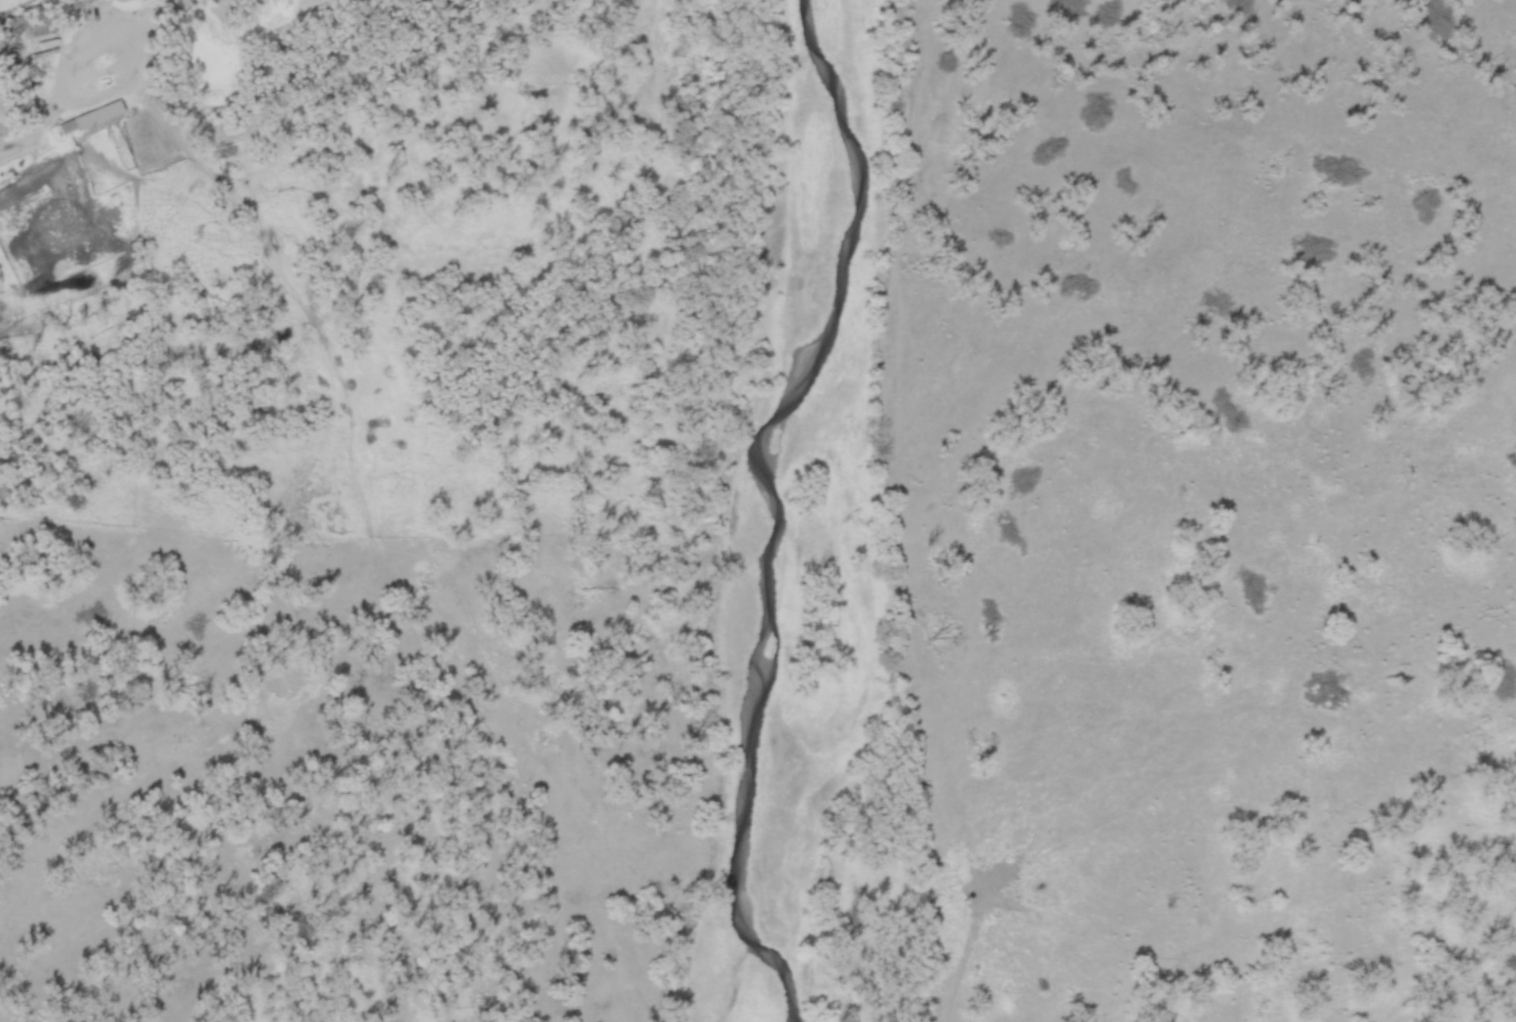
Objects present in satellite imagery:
road: (157, 68)
building: (67, 126)
river: (771, 505)

